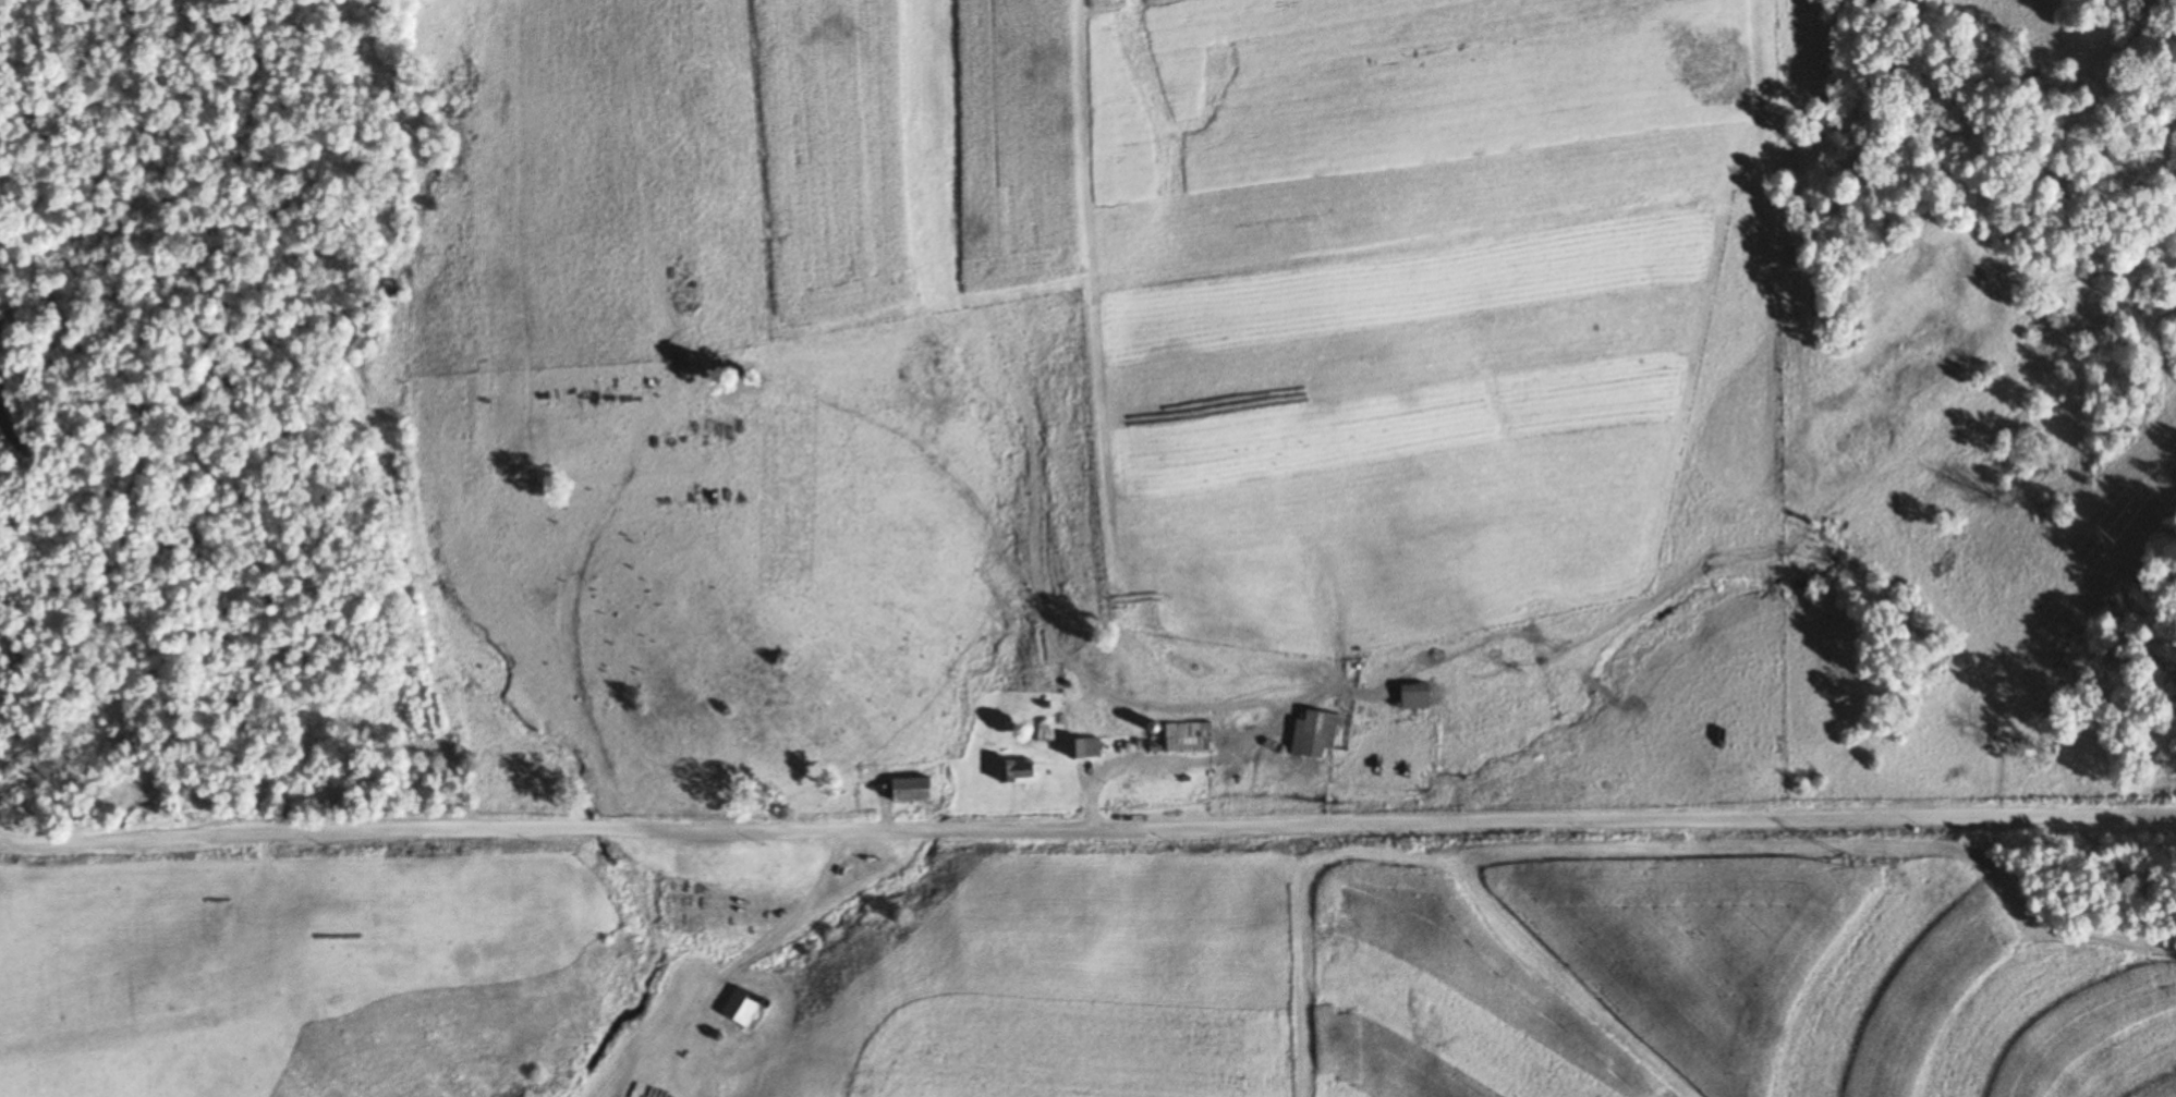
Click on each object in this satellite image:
crop: (1759, 68)
crop: (915, 158)
crop: (1405, 288)
crop: (1734, 404)
power tower: (2113, 532)
building: (1410, 695)
crop: (1718, 711)
building: (1318, 734)
building: (1193, 736)
building: (1162, 746)
building: (1090, 748)
road: (1219, 754)
building: (1023, 772)
building: (921, 791)
road: (884, 809)
road: (1086, 829)
power tower: (1852, 856)
road: (790, 917)
crop: (112, 933)
crop: (1641, 971)
crop: (1090, 984)
building: (741, 1005)
crop: (2066, 1024)
crop: (84, 1061)
crop: (666, 1065)

